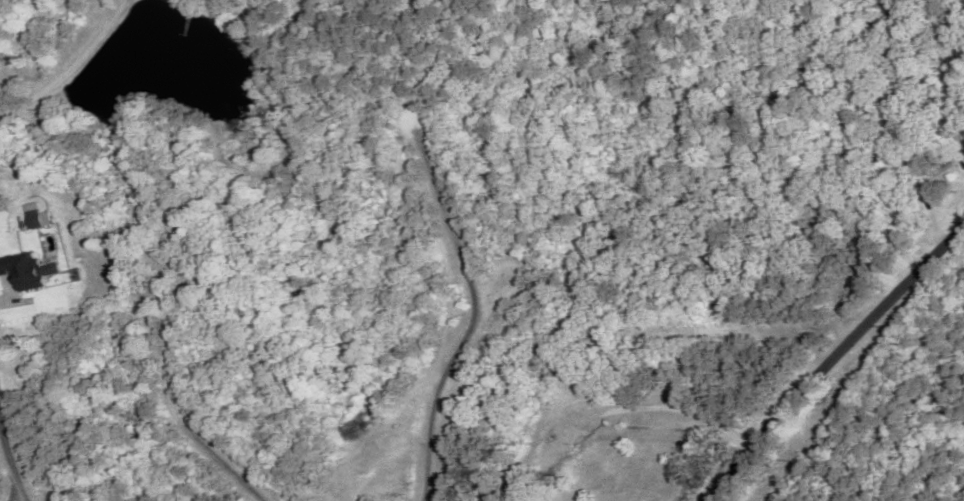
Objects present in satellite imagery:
road: (68, 61)
building: (932, 181)
building: (31, 219)
building: (22, 273)
road: (469, 312)
road: (831, 357)
building: (570, 387)
building: (530, 445)
road: (7, 467)

